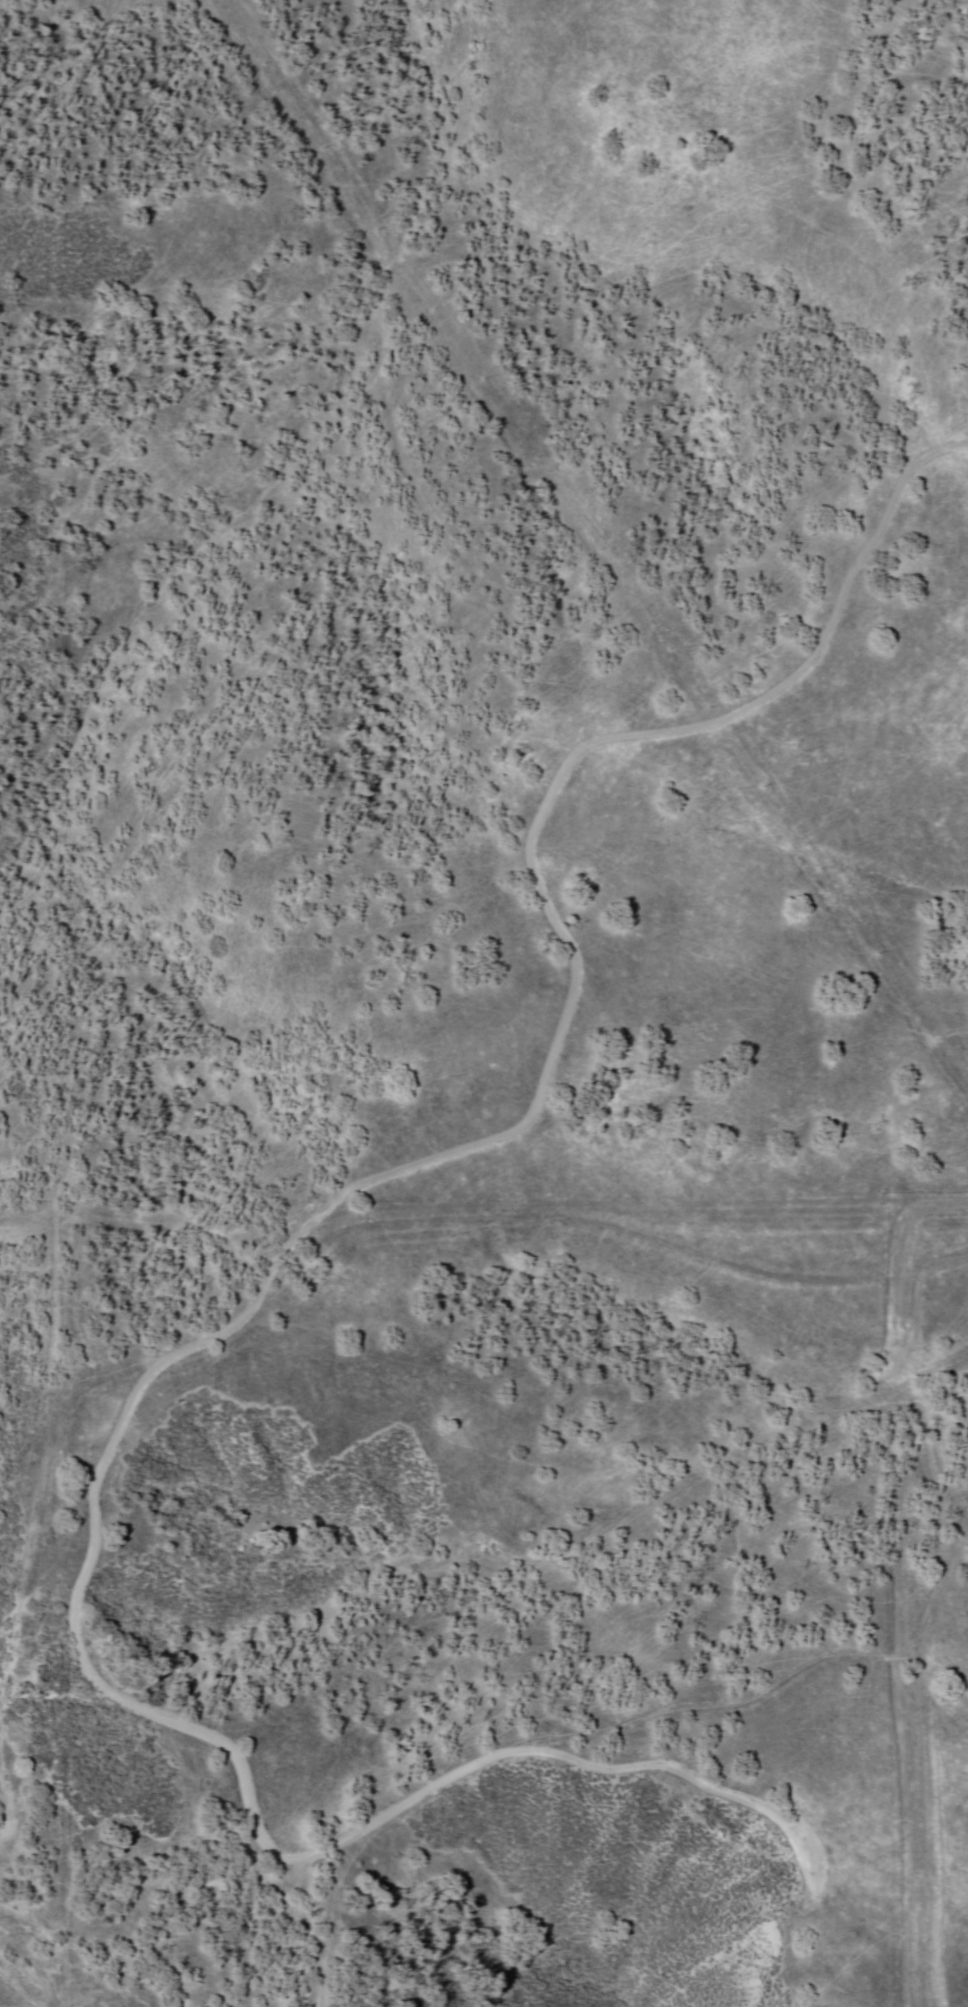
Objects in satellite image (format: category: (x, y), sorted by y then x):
road: (542, 1085)
road: (907, 1218)
road: (934, 1603)
road: (938, 1669)
road: (905, 1724)
road: (8, 1806)
road: (354, 1838)

